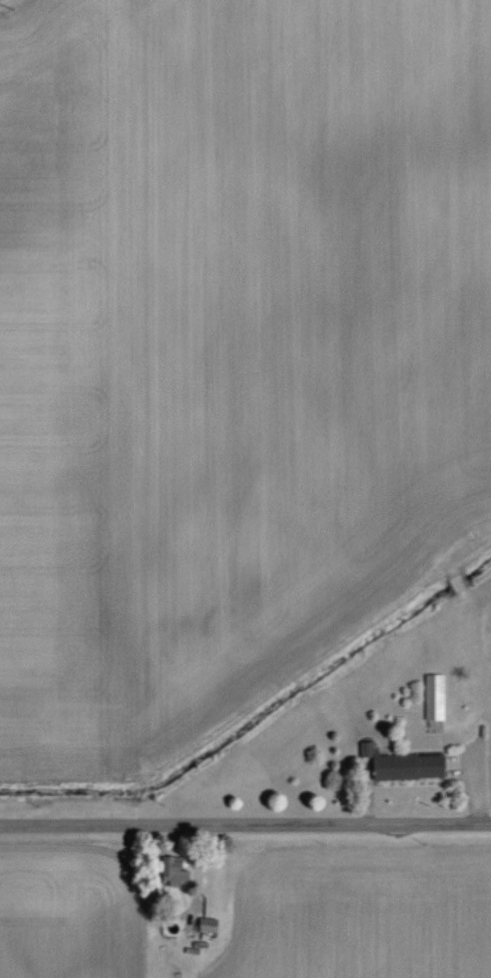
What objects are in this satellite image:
building: (435, 692)
building: (408, 766)
road: (245, 823)

